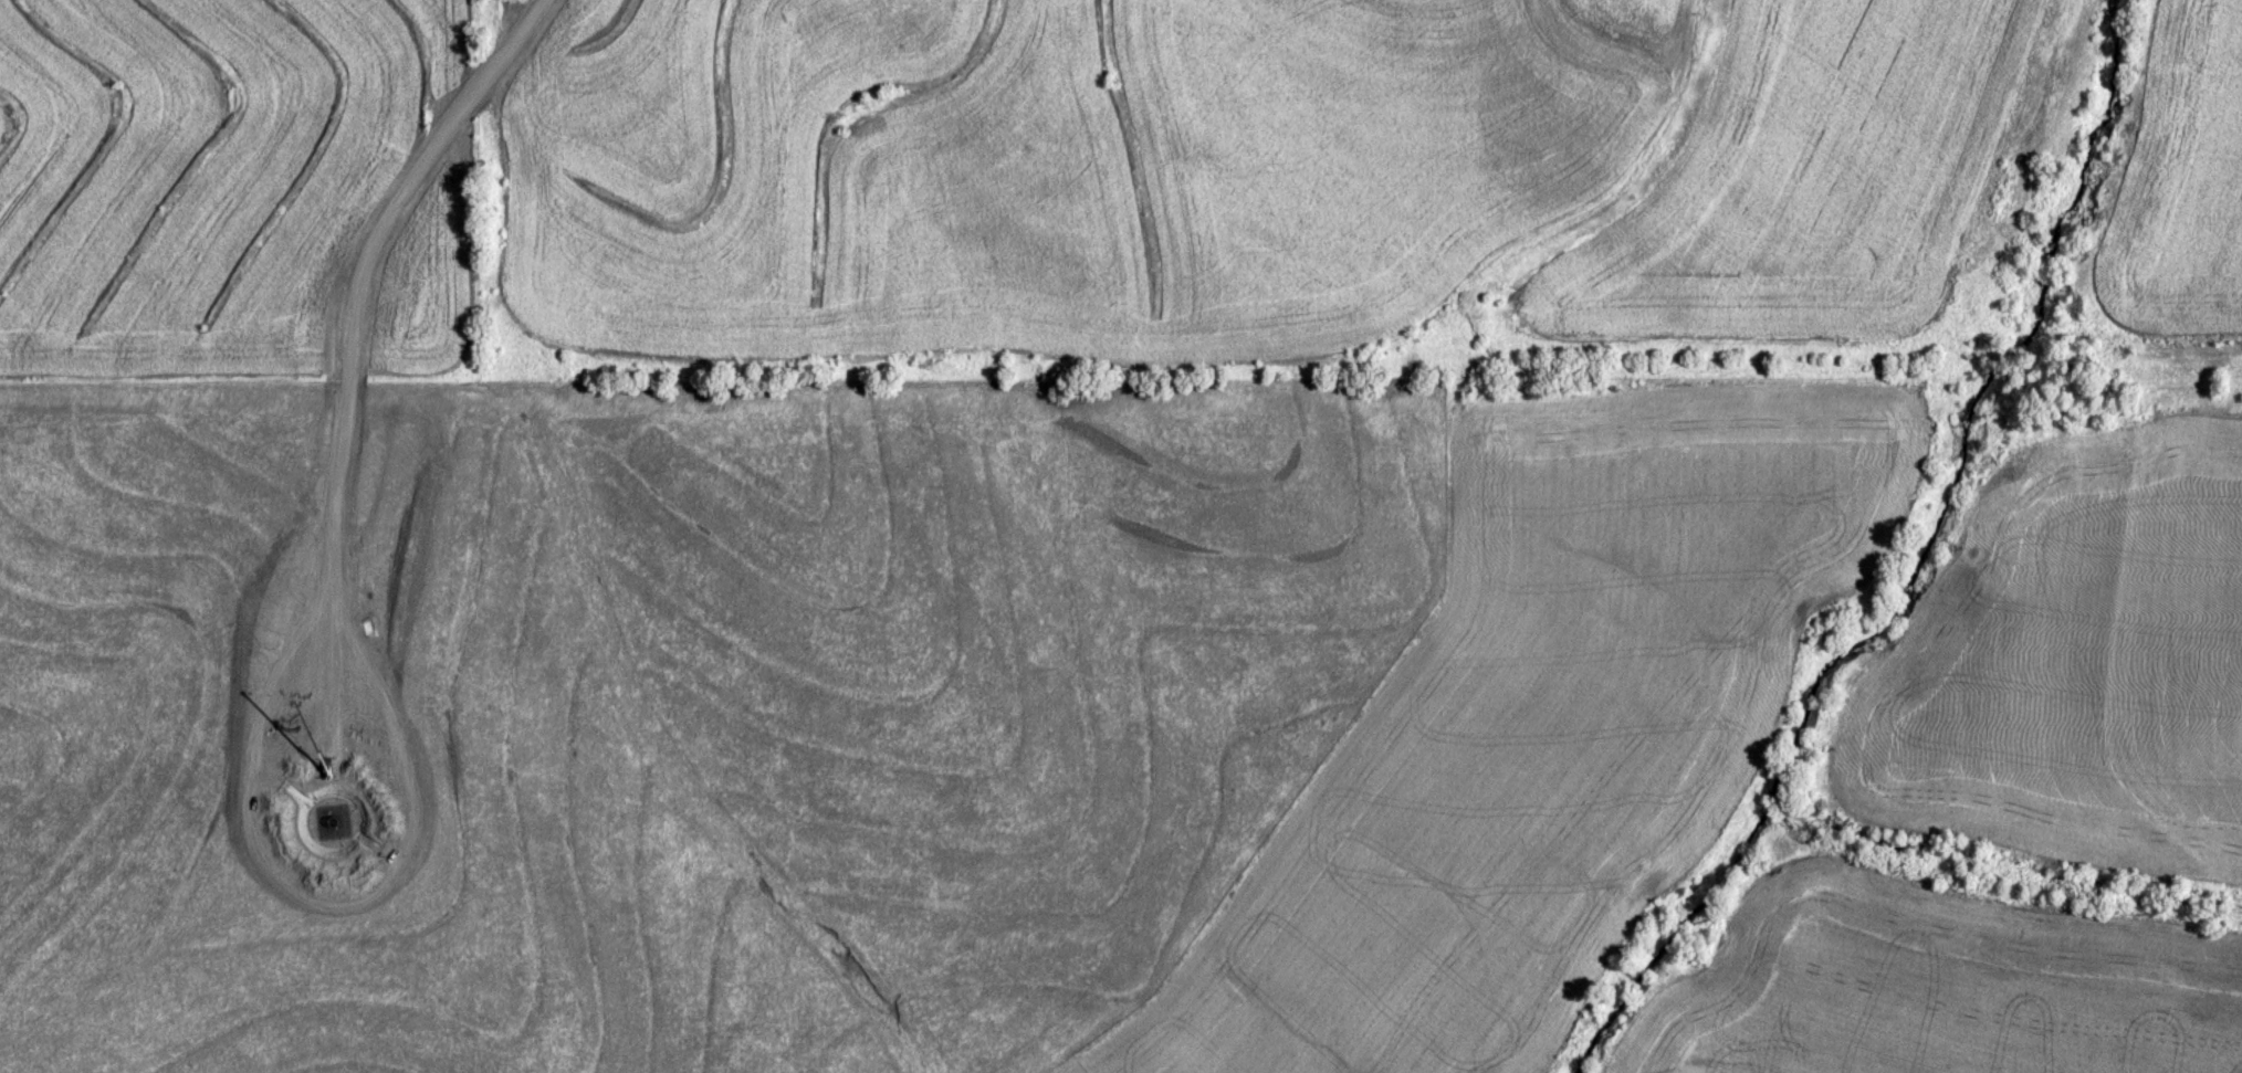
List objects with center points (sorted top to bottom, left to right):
wind turbine: (341, 798)

